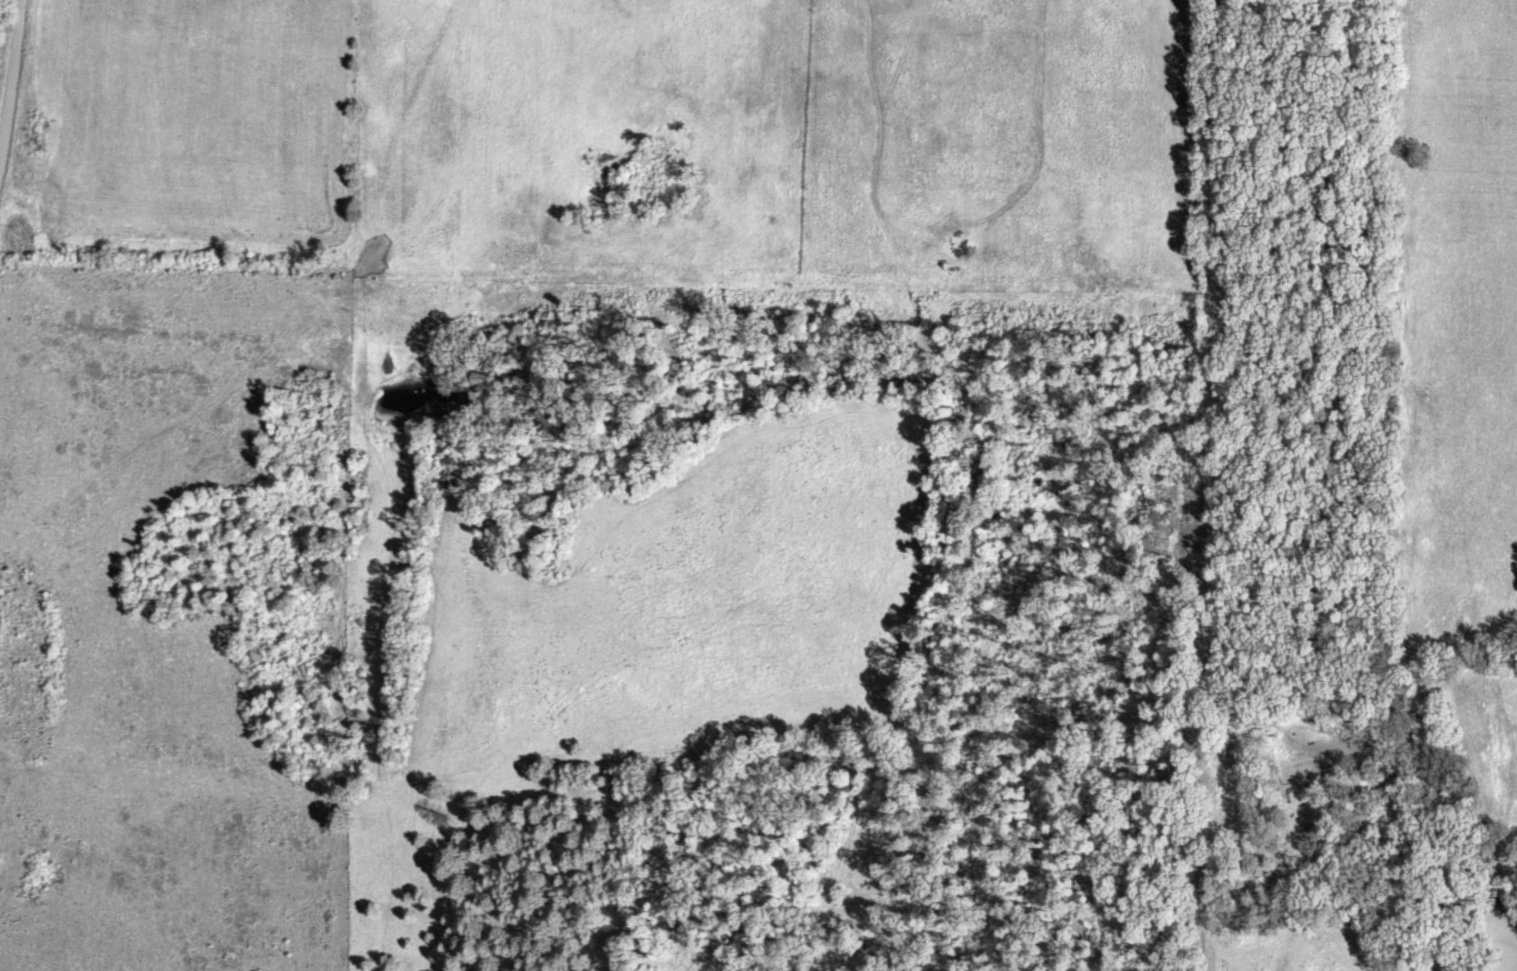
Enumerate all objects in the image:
road: (21, 77)

